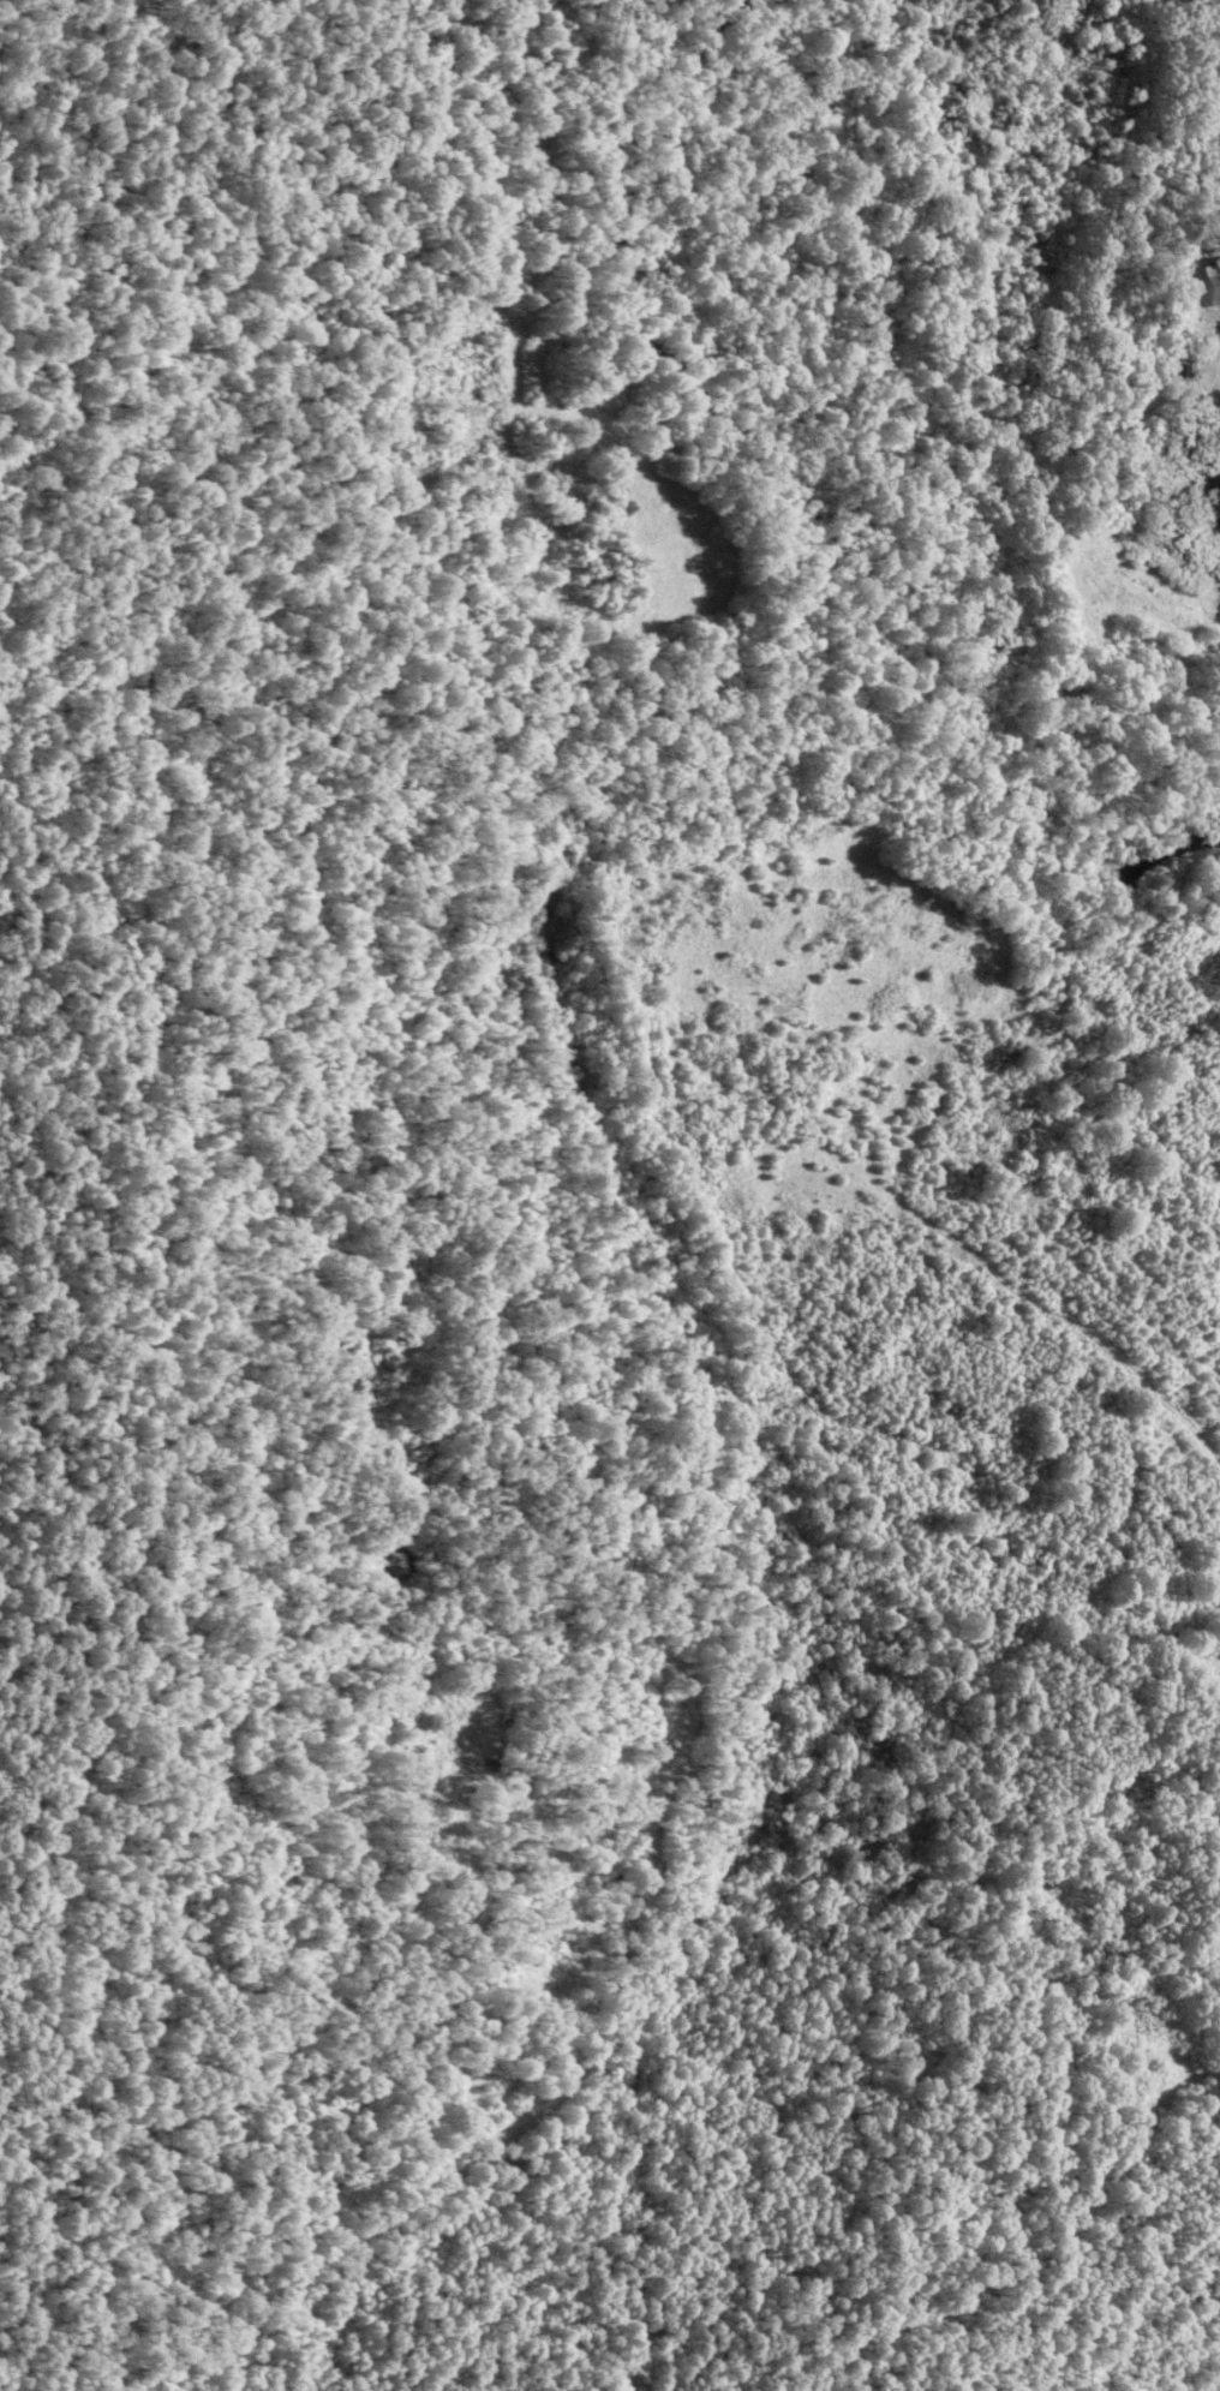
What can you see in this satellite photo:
building: (1184, 376)

